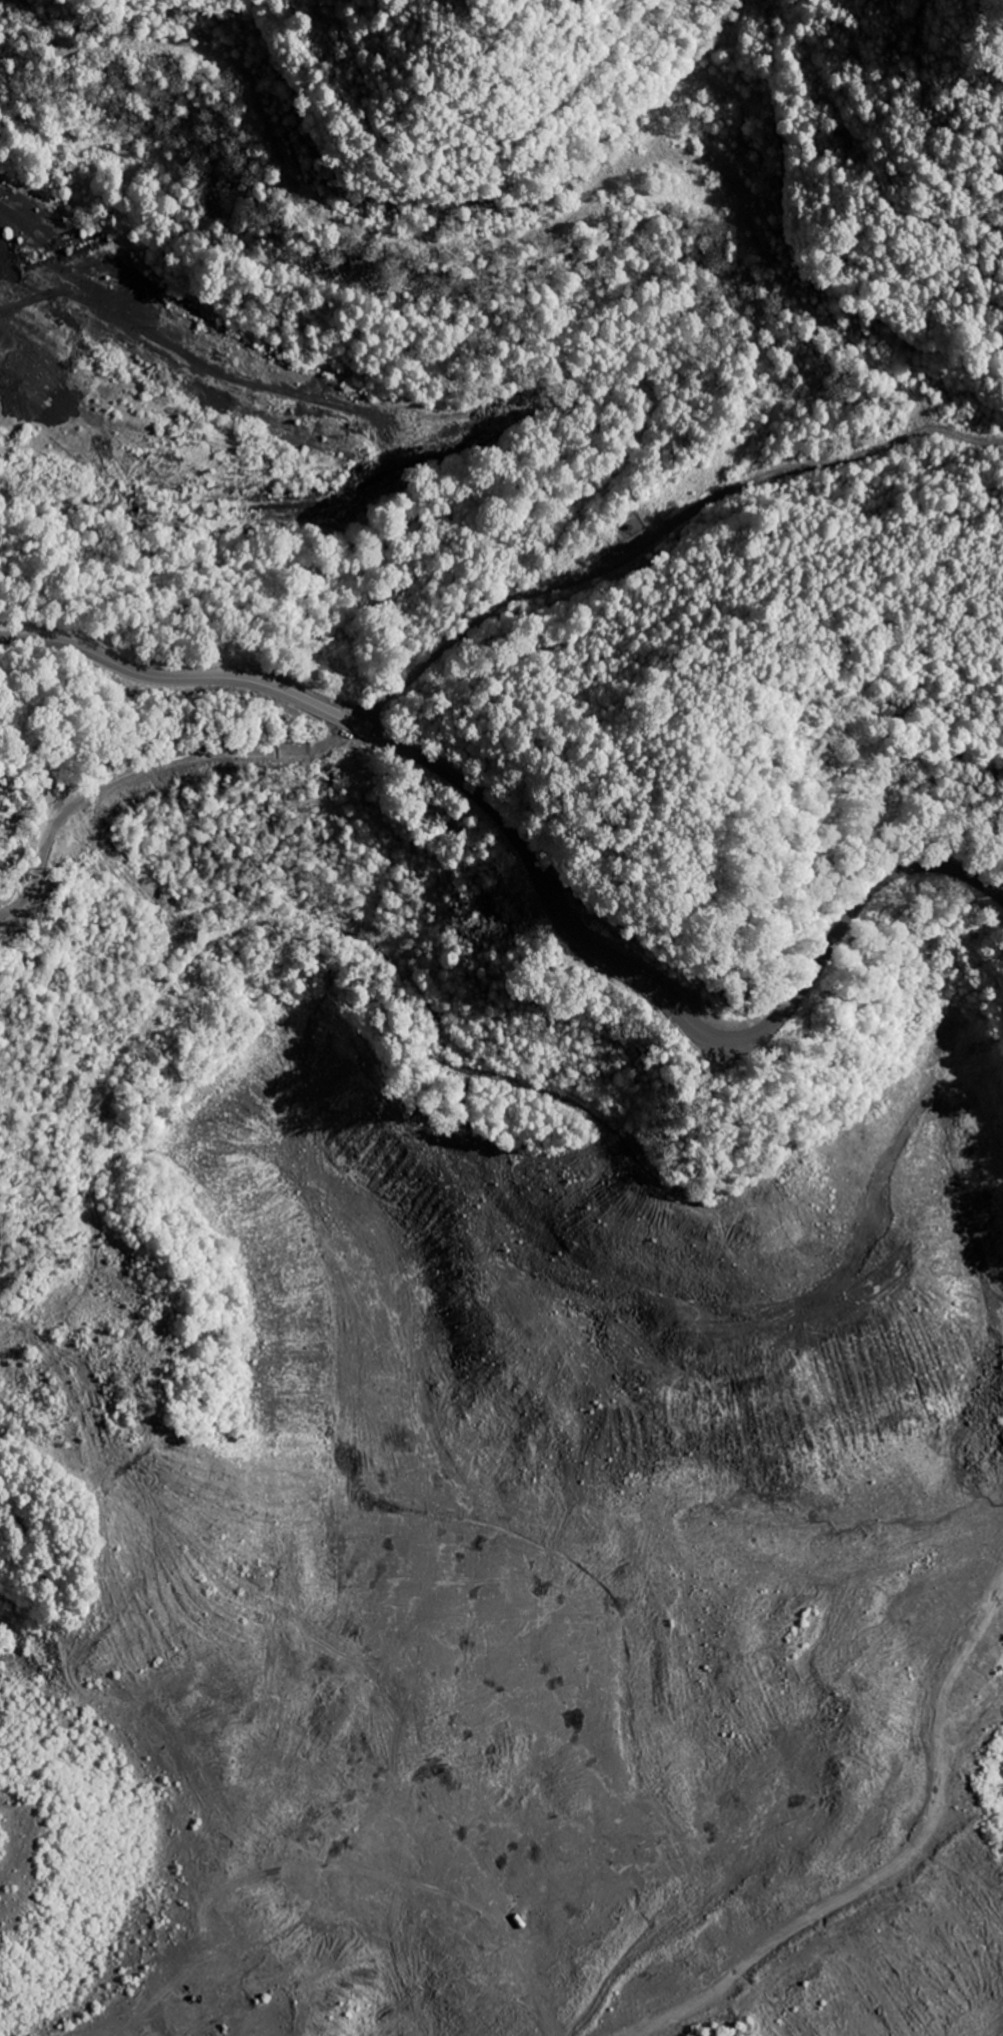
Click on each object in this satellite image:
road: (164, 673)
road: (666, 1004)
road: (430, 1036)
road: (868, 1863)

